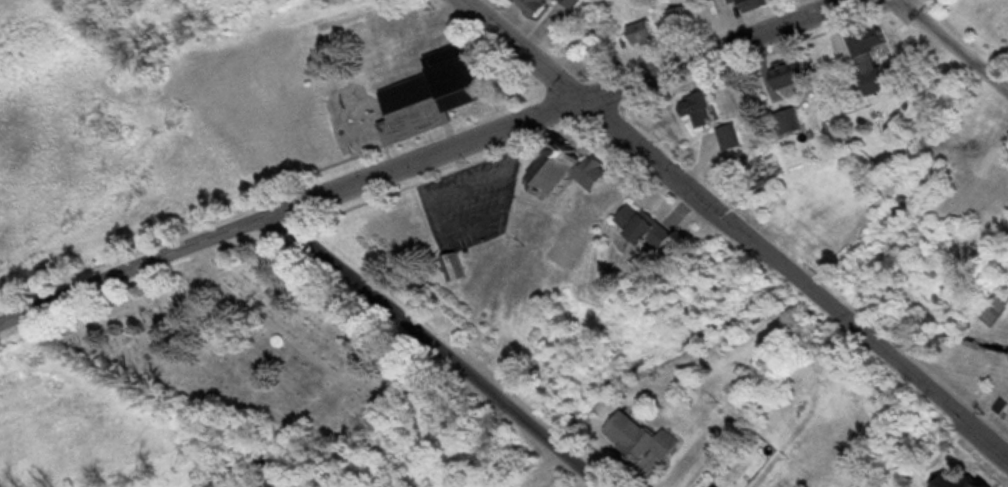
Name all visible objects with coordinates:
building: (736, 1)
building: (581, 2)
building: (761, 4)
building: (545, 5)
building: (687, 19)
building: (650, 32)
road: (953, 46)
building: (879, 57)
building: (802, 70)
building: (445, 92)
building: (708, 109)
building: (737, 136)
road: (419, 162)
building: (575, 170)
building: (655, 226)
road: (737, 228)
road: (446, 349)
building: (653, 437)
building: (952, 481)
building: (709, 486)

